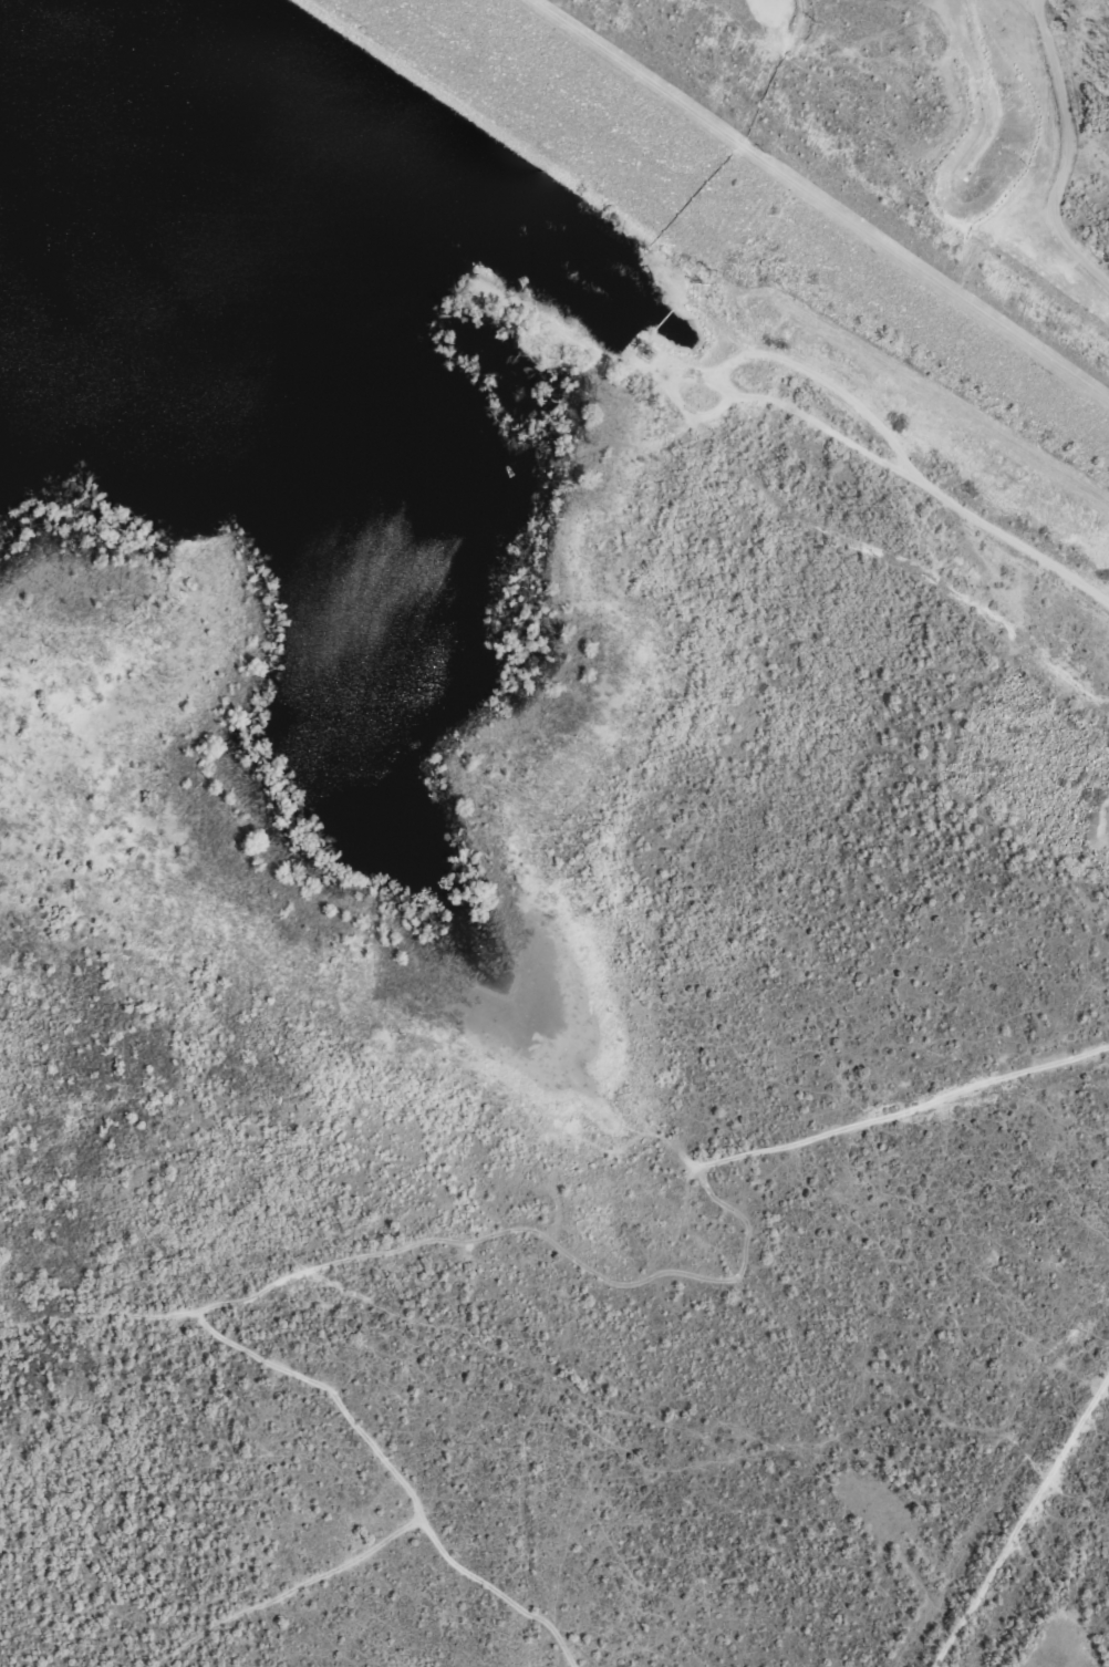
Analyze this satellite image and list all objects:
river: (312, 42)
river: (139, 118)
road: (1055, 149)
dam: (738, 190)
road: (807, 206)
road: (791, 411)
road: (589, 1273)
railway: (1019, 1516)
road: (1020, 1519)
road: (380, 1542)

